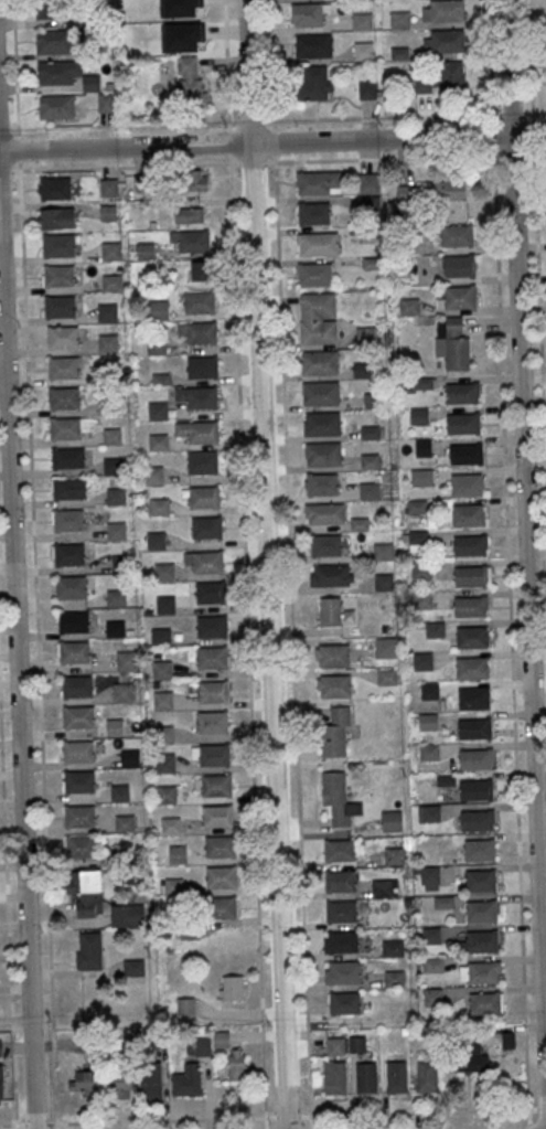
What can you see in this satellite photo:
building: (50, 9)
building: (443, 10)
building: (310, 14)
building: (185, 20)
building: (399, 20)
building: (363, 21)
building: (143, 40)
building: (443, 40)
building: (56, 42)
building: (313, 45)
building: (363, 51)
building: (58, 72)
building: (439, 77)
building: (190, 79)
road: (271, 81)
road: (226, 82)
building: (92, 83)
building: (315, 83)
road: (15, 85)
building: (106, 103)
building: (56, 106)
road: (272, 121)
road: (528, 136)
road: (255, 143)
road: (410, 157)
building: (199, 180)
building: (319, 183)
building: (368, 183)
building: (55, 188)
building: (109, 188)
building: (454, 188)
building: (108, 213)
building: (313, 213)
building: (189, 214)
building: (57, 217)
building: (457, 235)
building: (192, 241)
building: (58, 244)
building: (318, 244)
building: (110, 251)
building: (146, 251)
road: (536, 255)
building: (459, 265)
building: (200, 270)
building: (315, 275)
building: (58, 276)
building: (111, 283)
building: (460, 297)
building: (199, 302)
building: (60, 307)
building: (409, 307)
building: (158, 310)
building: (107, 311)
building: (318, 318)
building: (199, 332)
building: (366, 333)
building: (62, 337)
building: (108, 342)
building: (454, 342)
building: (320, 362)
building: (203, 366)
building: (63, 368)
building: (362, 370)
building: (89, 373)
building: (417, 384)
building: (321, 393)
building: (461, 393)
building: (63, 397)
building: (197, 397)
building: (374, 400)
building: (157, 409)
building: (419, 416)
building: (322, 423)
building: (463, 423)
building: (68, 427)
building: (197, 433)
building: (371, 433)
building: (111, 436)
building: (158, 441)
building: (422, 447)
building: (322, 452)
building: (465, 454)
building: (67, 457)
building: (370, 460)
building: (203, 462)
building: (113, 466)
building: (421, 477)
building: (321, 483)
building: (467, 484)
building: (71, 488)
building: (370, 490)
building: (116, 497)
building: (204, 497)
building: (324, 513)
building: (468, 514)
building: (68, 520)
building: (206, 528)
building: (116, 530)
building: (156, 541)
building: (328, 544)
building: (470, 545)
building: (384, 551)
building: (68, 554)
building: (203, 562)
road: (265, 564)
road: (507, 564)
road: (525, 564)
building: (163, 572)
building: (331, 575)
building: (471, 576)
building: (71, 587)
building: (210, 593)
building: (116, 597)
building: (165, 605)
building: (470, 606)
building: (330, 610)
building: (73, 621)
building: (211, 626)
building: (116, 629)
building: (436, 629)
building: (161, 636)
building: (472, 637)
building: (386, 647)
road: (18, 649)
building: (74, 652)
building: (333, 654)
building: (213, 657)
building: (422, 661)
building: (472, 667)
building: (162, 669)
building: (387, 677)
building: (77, 686)
building: (334, 686)
building: (431, 691)
building: (122, 692)
building: (208, 692)
building: (473, 699)
building: (163, 701)
building: (78, 716)
building: (213, 722)
building: (428, 722)
building: (474, 728)
building: (336, 732)
building: (164, 734)
building: (78, 752)
building: (428, 752)
building: (210, 755)
building: (130, 757)
building: (475, 758)
building: (164, 763)
building: (81, 781)
building: (213, 785)
building: (475, 790)
building: (119, 792)
building: (167, 794)
building: (339, 798)
building: (429, 813)
building: (79, 816)
building: (217, 816)
building: (477, 820)
building: (392, 821)
building: (125, 822)
building: (171, 824)
building: (221, 845)
building: (81, 846)
building: (340, 850)
building: (480, 850)
building: (176, 854)
building: (394, 855)
road: (45, 859)
building: (222, 876)
building: (429, 878)
building: (340, 880)
building: (480, 881)
building: (173, 886)
building: (384, 887)
building: (101, 899)
building: (224, 907)
building: (341, 910)
building: (482, 910)
building: (482, 940)
building: (341, 941)
building: (393, 948)
building: (89, 951)
building: (133, 967)
building: (343, 971)
building: (483, 971)
building: (394, 978)
building: (232, 987)
building: (431, 997)
building: (345, 1002)
building: (484, 1002)
building: (185, 1006)
road: (307, 1010)
building: (222, 1039)
building: (508, 1040)
building: (335, 1045)
building: (199, 1046)
building: (0, 1047)
building: (470, 1057)
building: (236, 1065)
building: (428, 1076)
building: (366, 1077)
building: (335, 1078)
building: (396, 1078)
building: (85, 1080)
building: (151, 1080)
building: (188, 1082)
building: (1, 1083)
building: (120, 1086)
road: (428, 1111)
road: (167, 1119)
road: (311, 1122)
road: (8, 1125)
road: (56, 1126)
road: (15, 1127)

